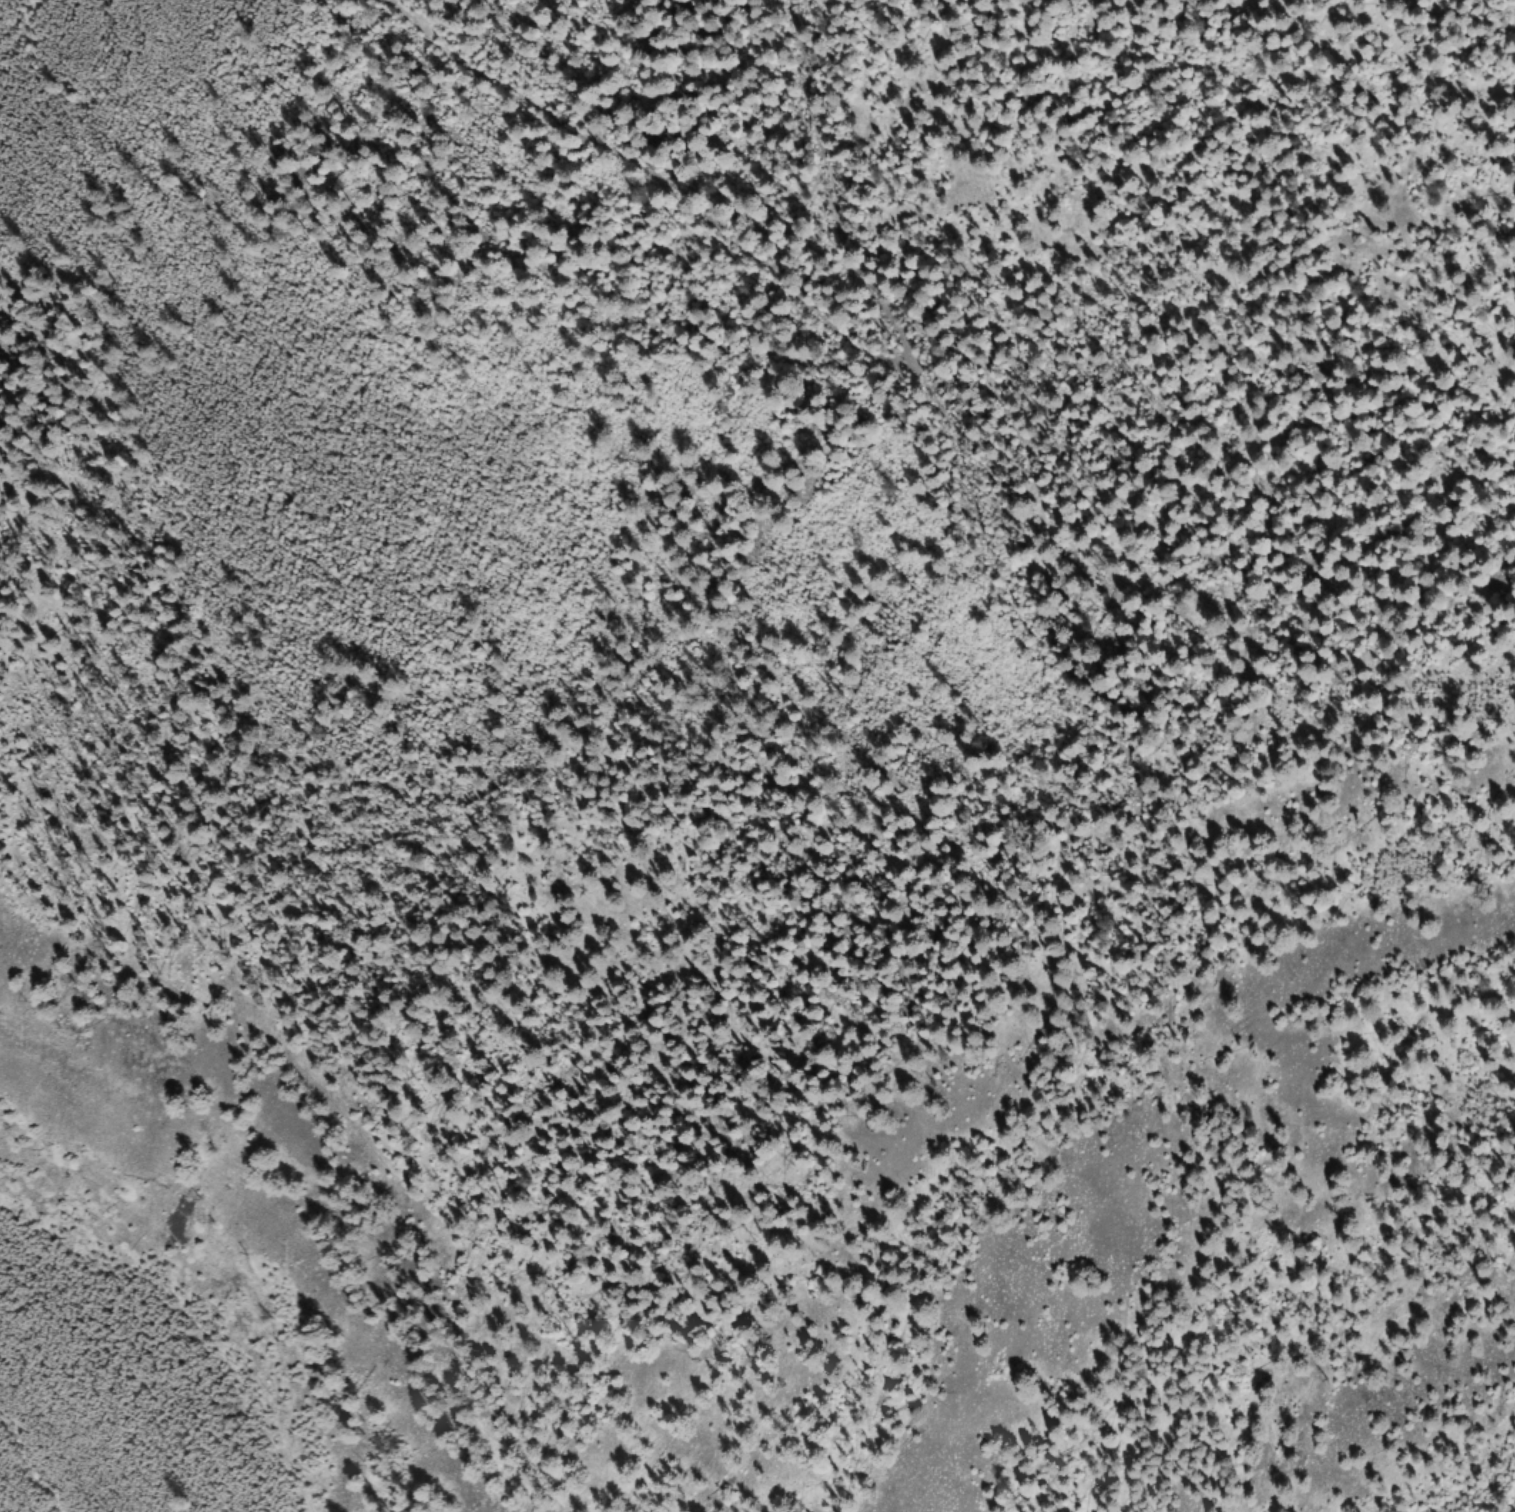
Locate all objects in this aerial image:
road: (636, 127)
road: (1111, 719)

